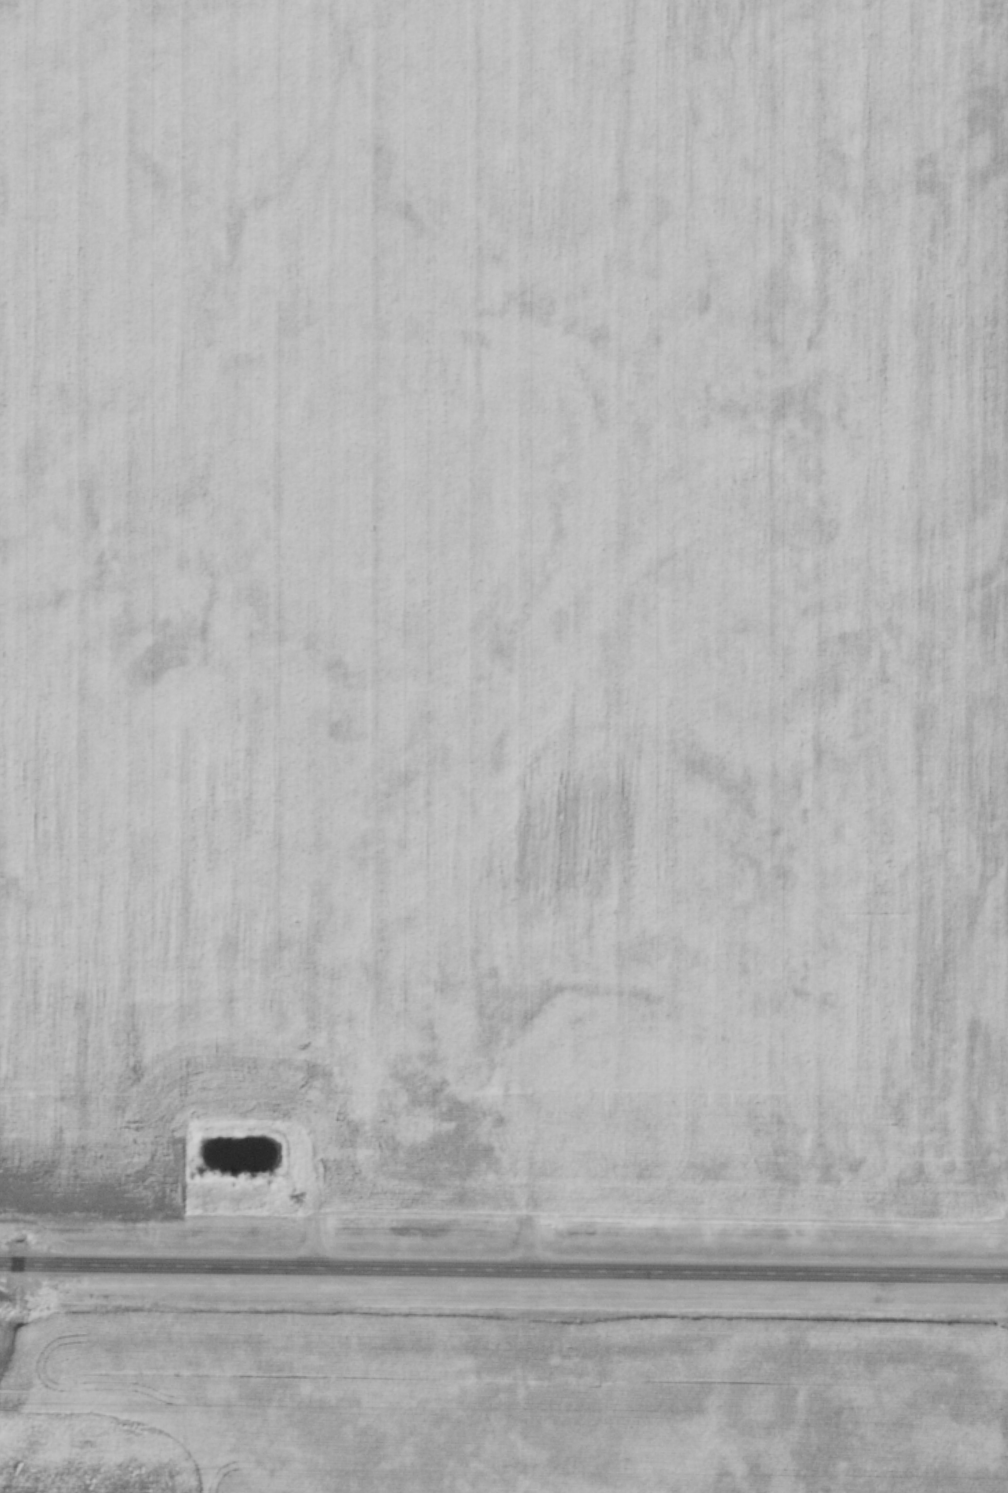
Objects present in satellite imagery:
road: (504, 1271)

